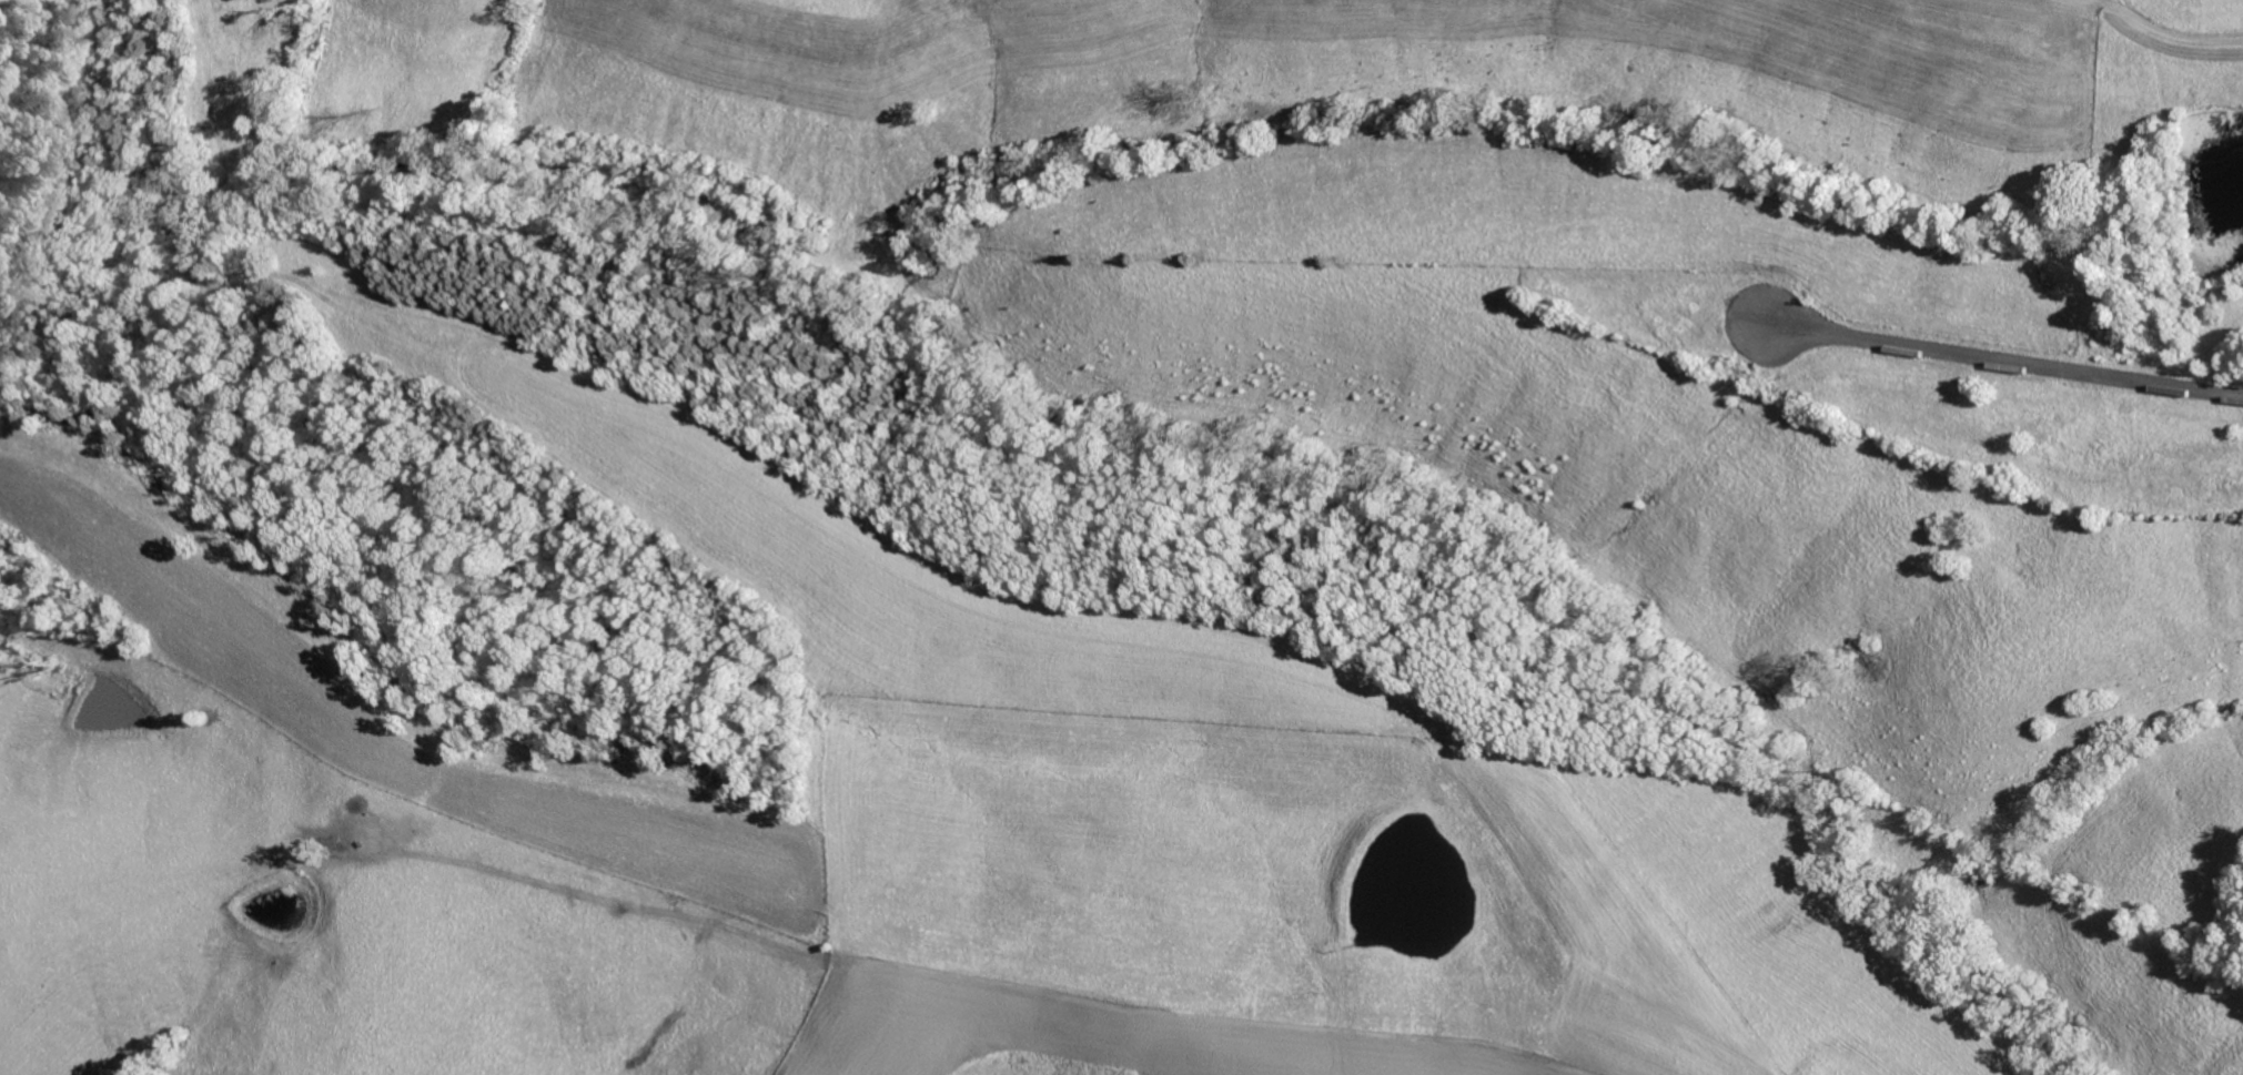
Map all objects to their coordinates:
road: (2015, 356)

